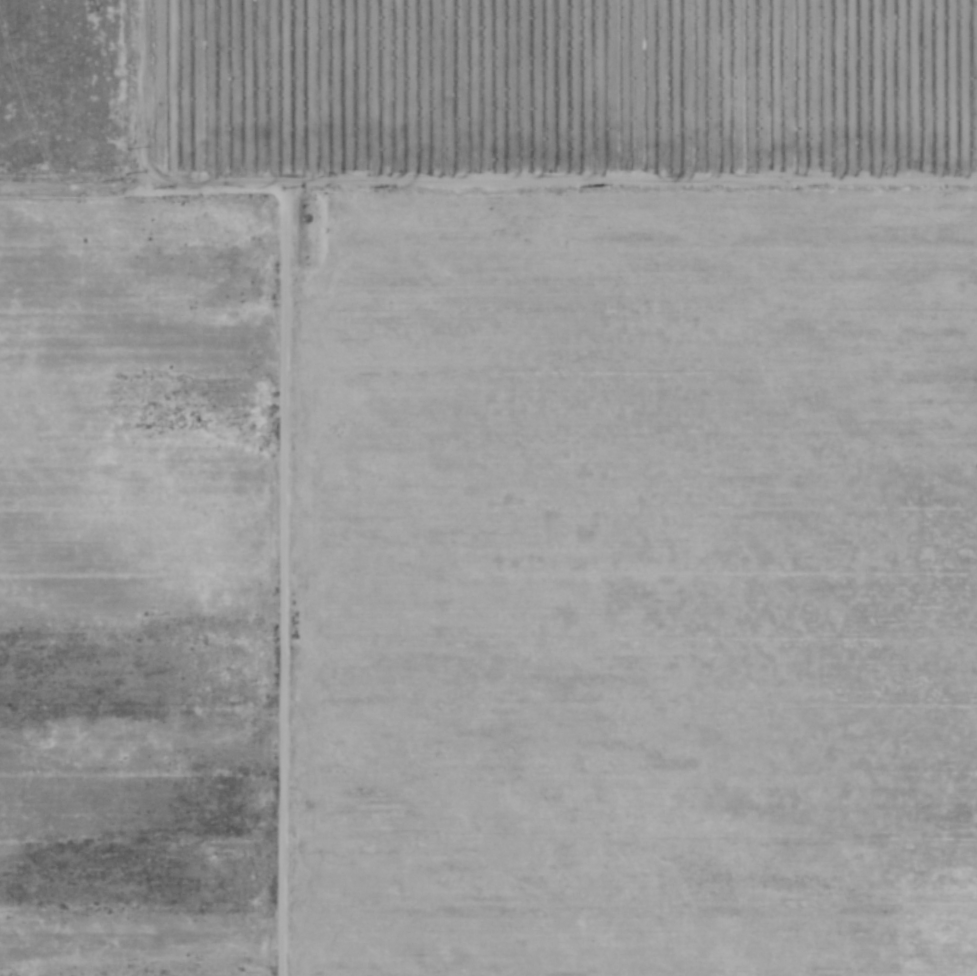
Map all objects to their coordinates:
road: (132, 96)
road: (66, 193)
road: (205, 193)
road: (278, 587)
crop: (136, 588)

